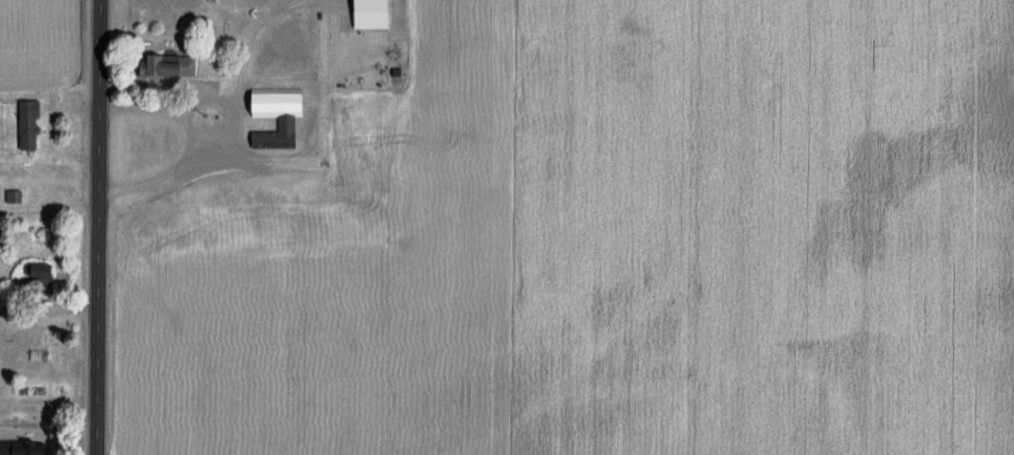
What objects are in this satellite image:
building: (376, 13)
building: (178, 63)
building: (282, 113)
building: (373, 116)
building: (34, 123)
road: (188, 141)
building: (232, 182)
road: (96, 227)
building: (44, 275)
building: (37, 336)
building: (27, 447)

